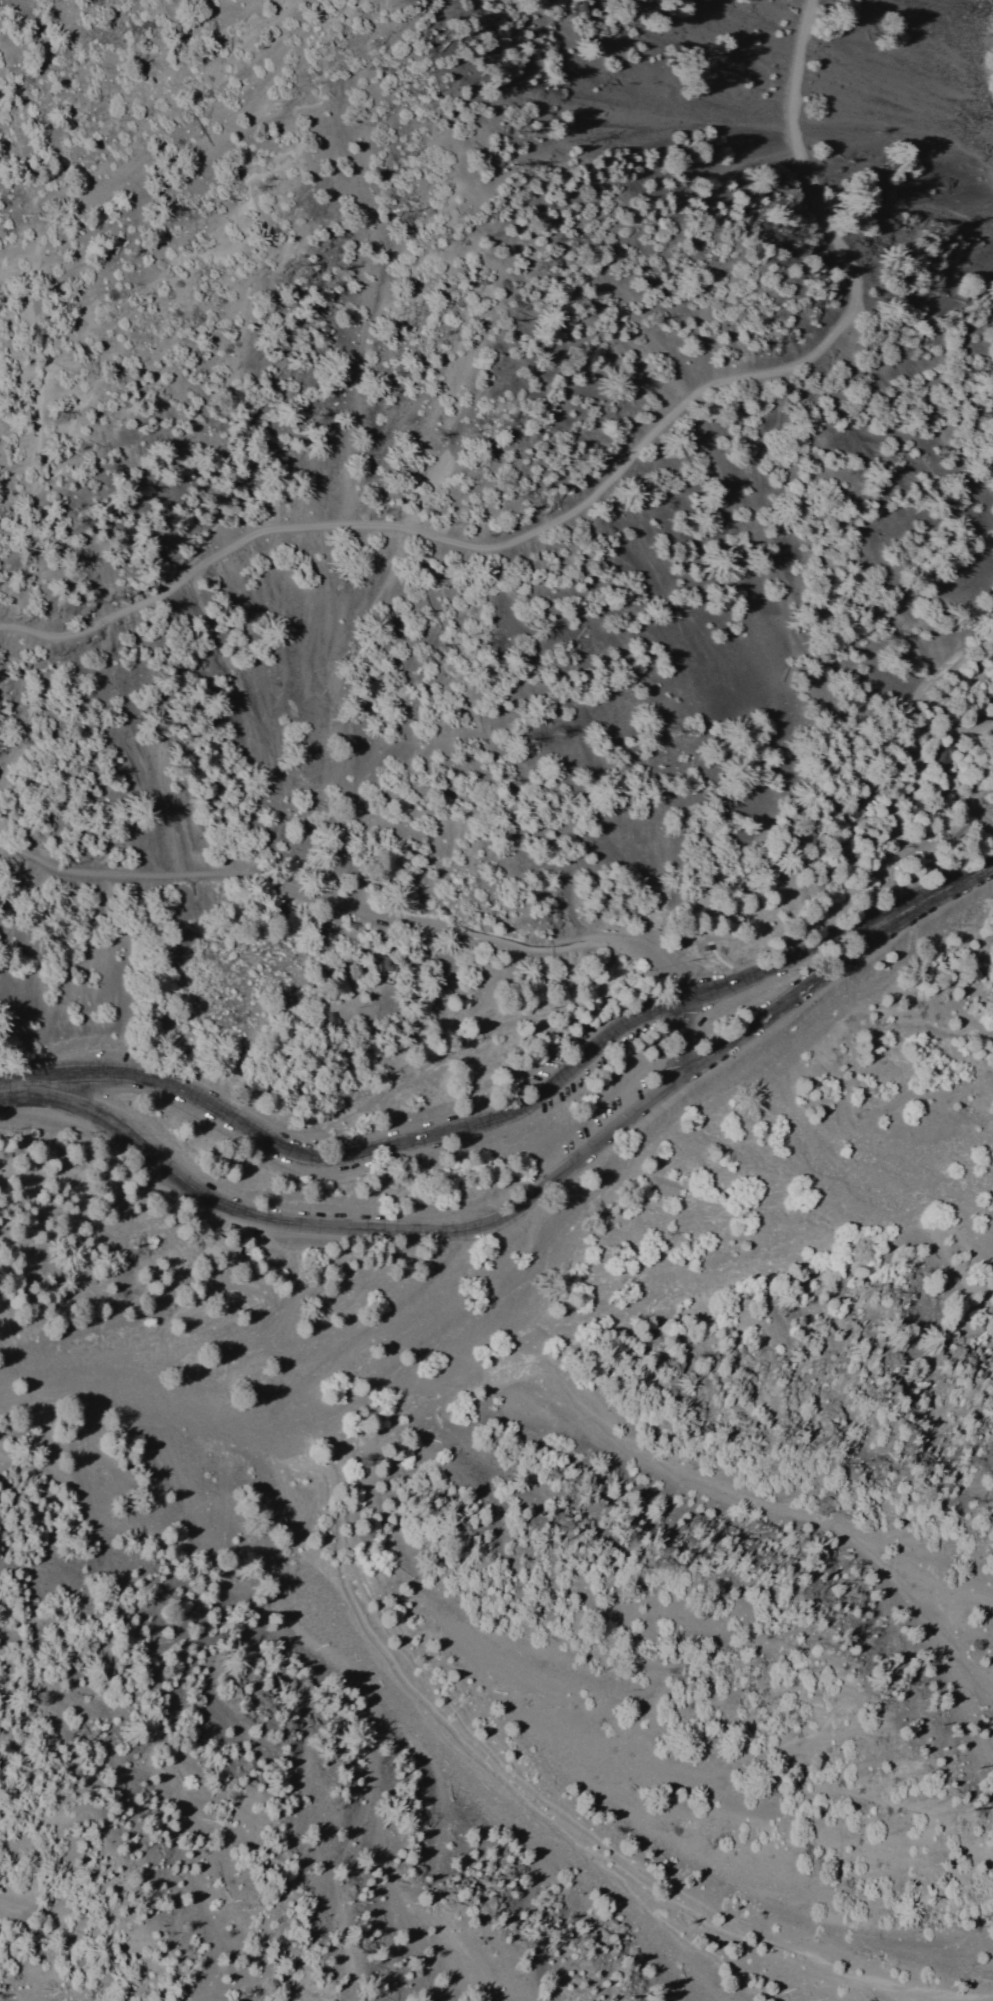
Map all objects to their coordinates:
ski resort: (983, 82)
road: (797, 138)
road: (224, 247)
road: (39, 405)
road: (473, 544)
road: (962, 883)
road: (389, 917)
building: (705, 948)
road: (719, 960)
building: (378, 966)
building: (325, 1019)
parking lot: (622, 1051)
road: (482, 1123)
road: (499, 1219)
building: (222, 1252)

